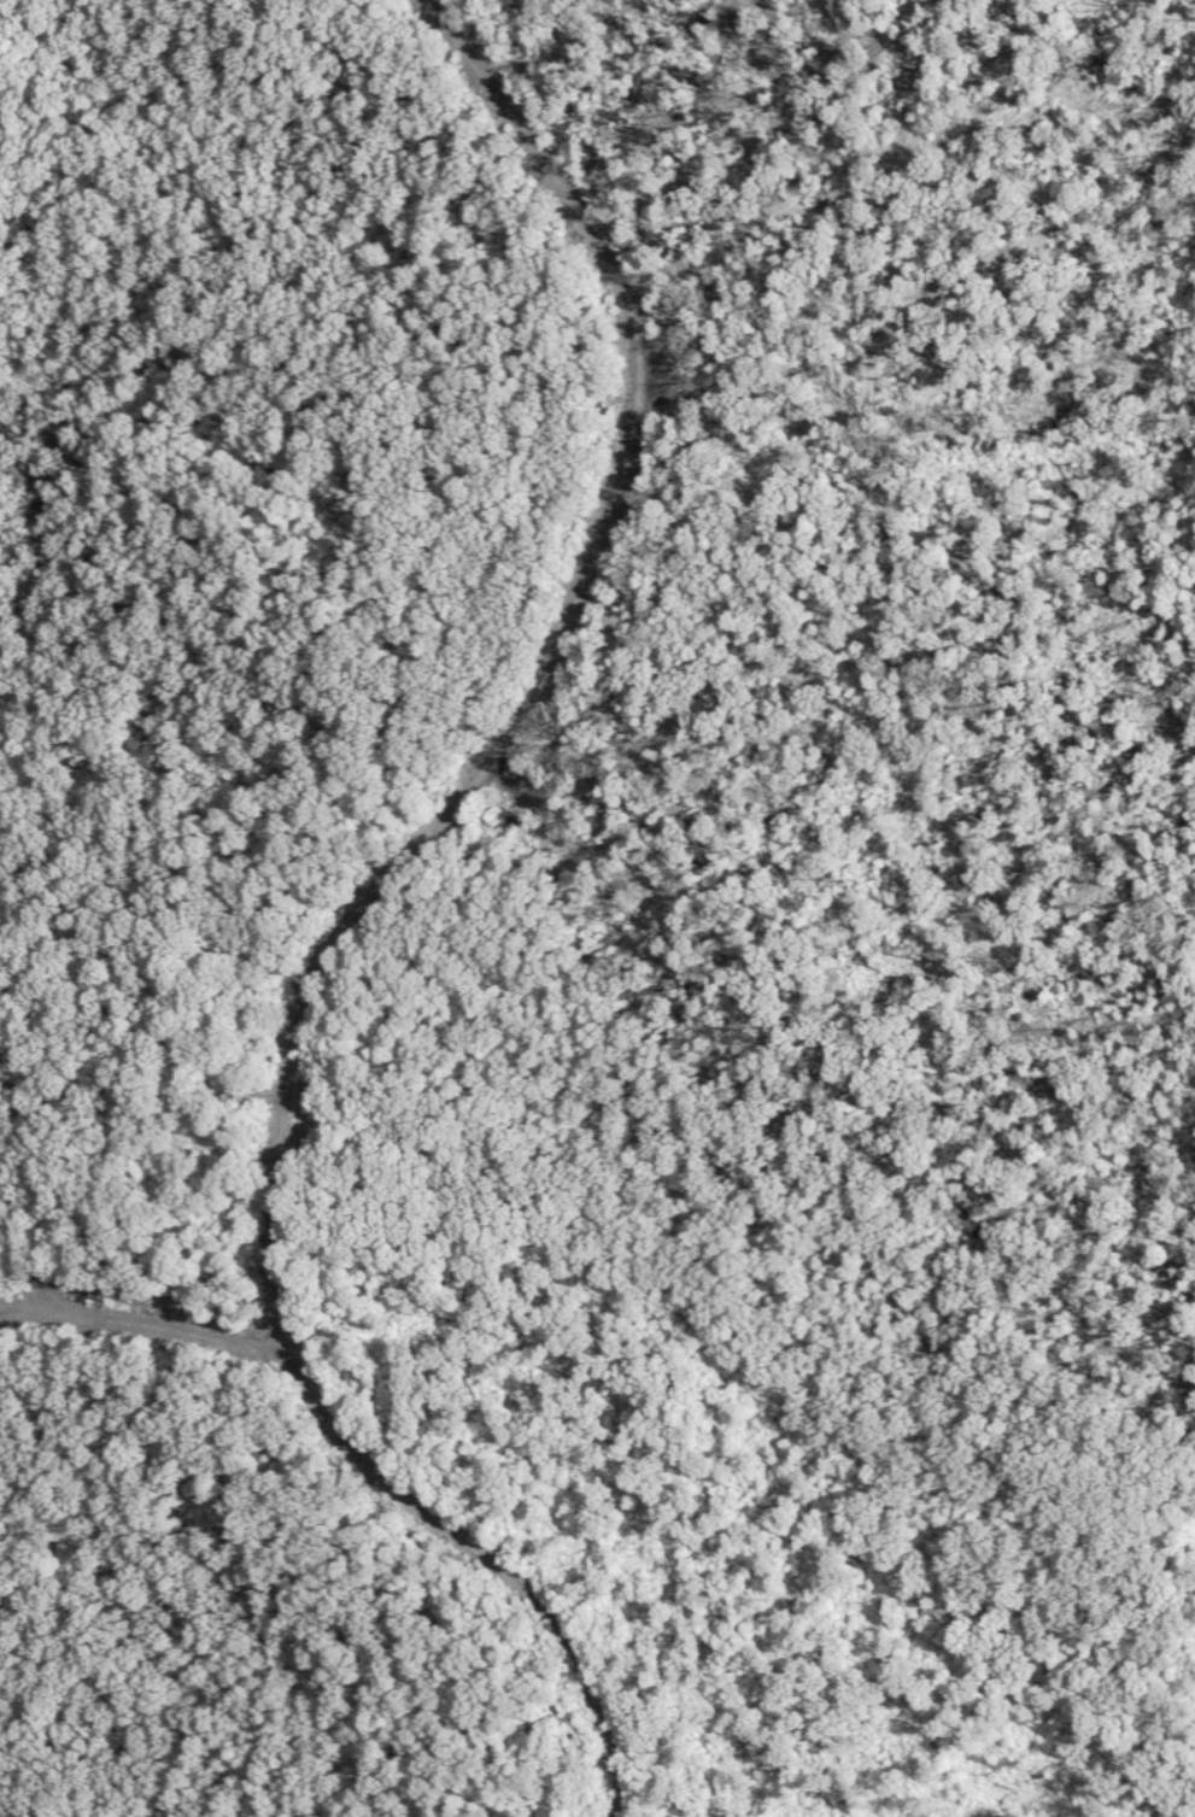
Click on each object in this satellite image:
road: (361, 909)

